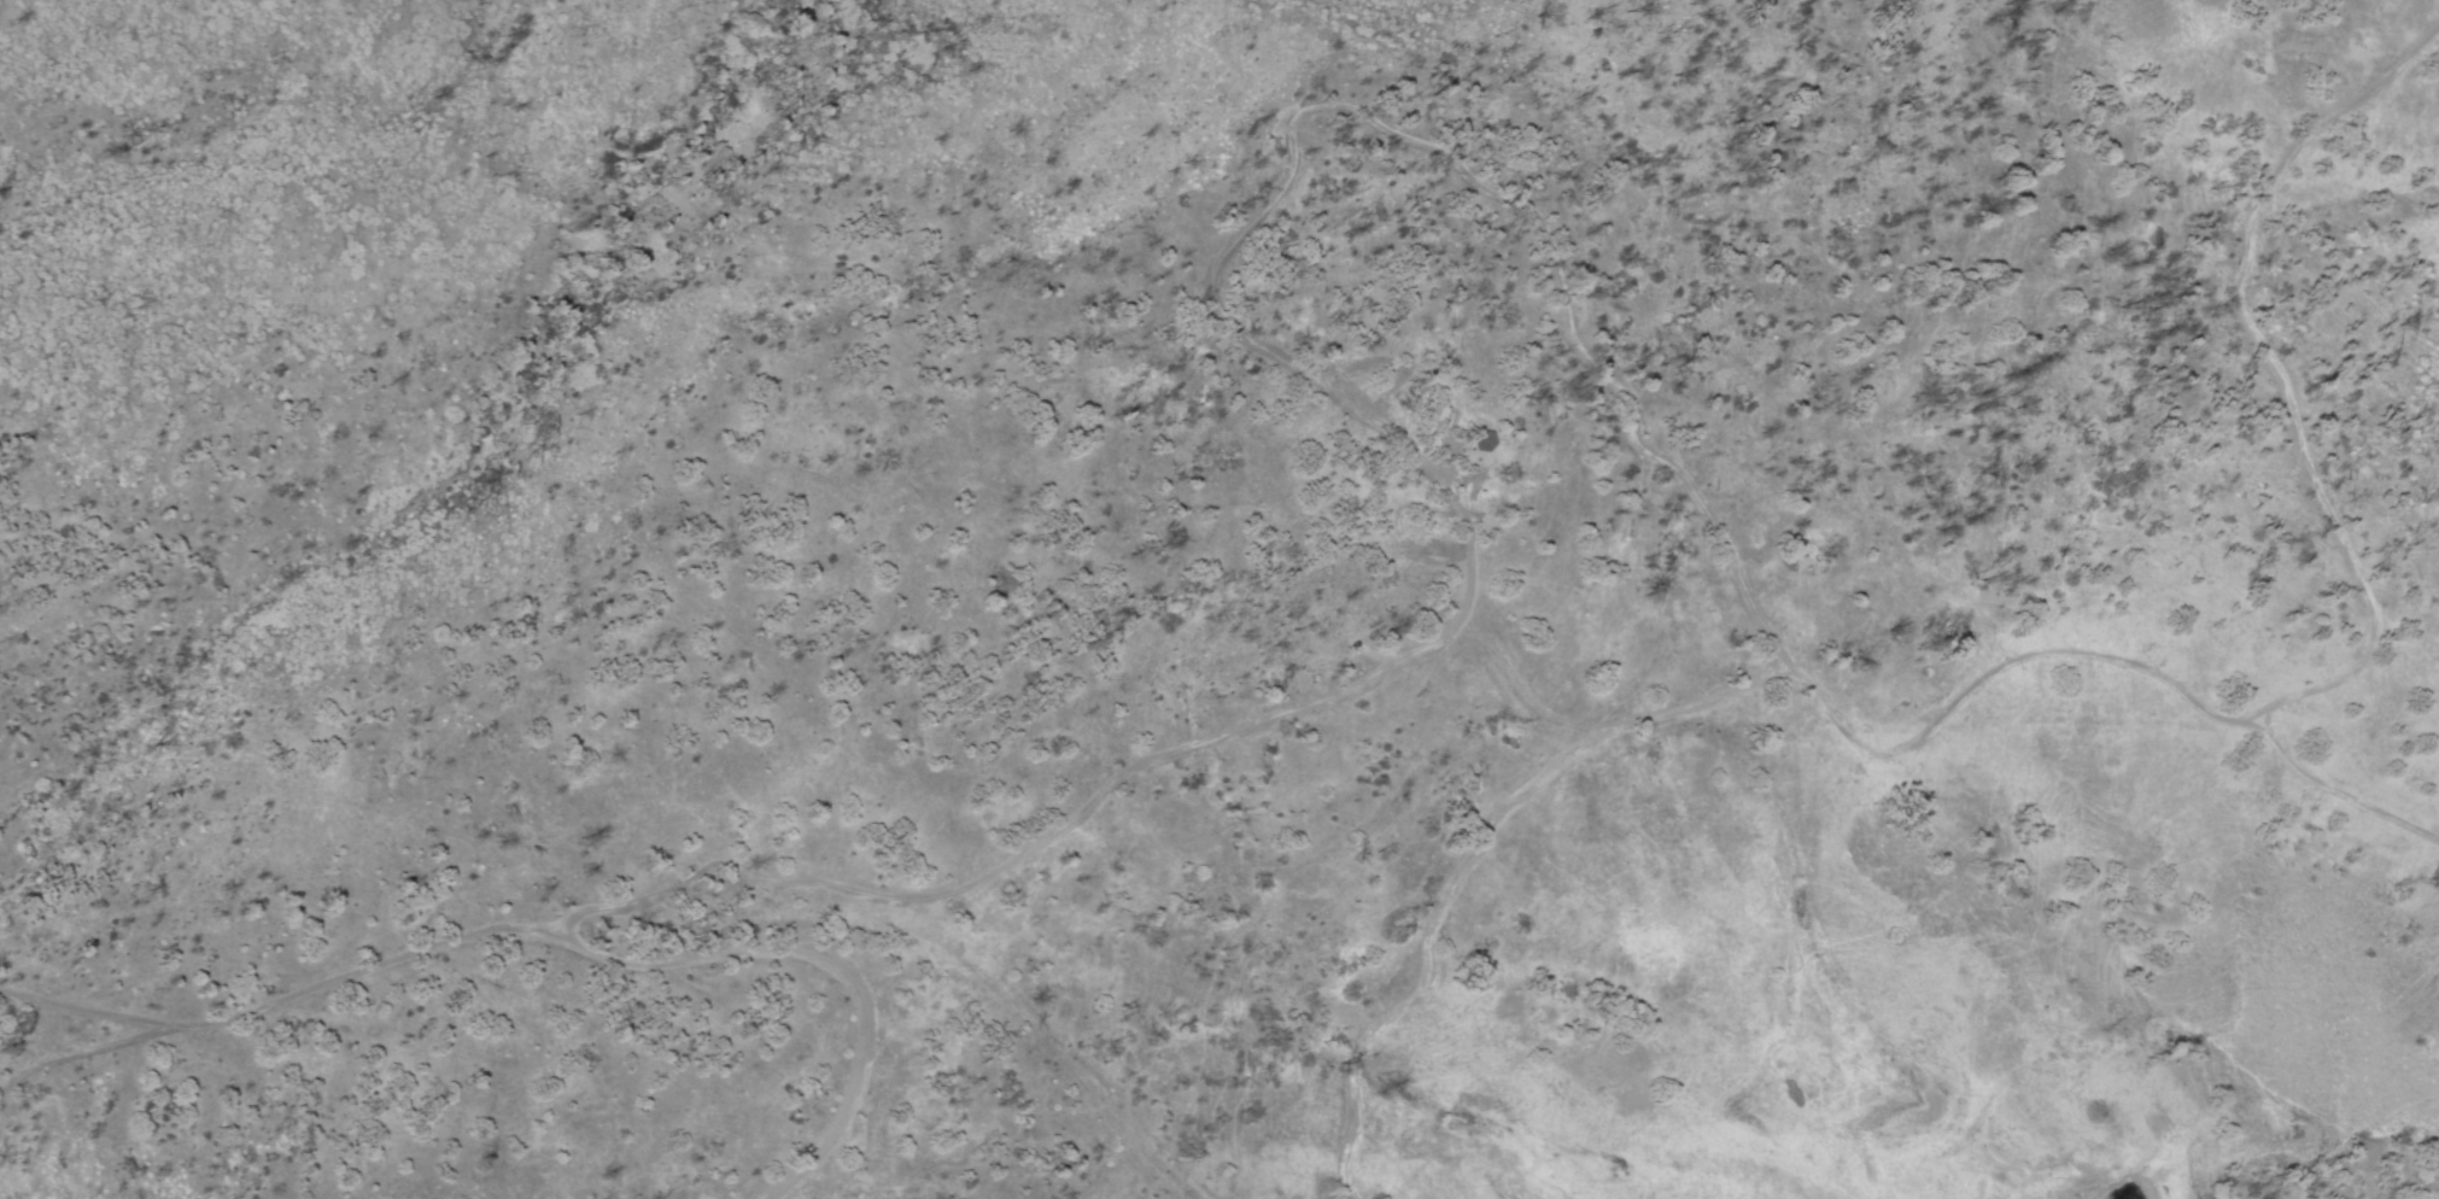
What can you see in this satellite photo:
road: (1080, 805)
road: (545, 943)
quarry: (999, 1054)
road: (81, 1061)

